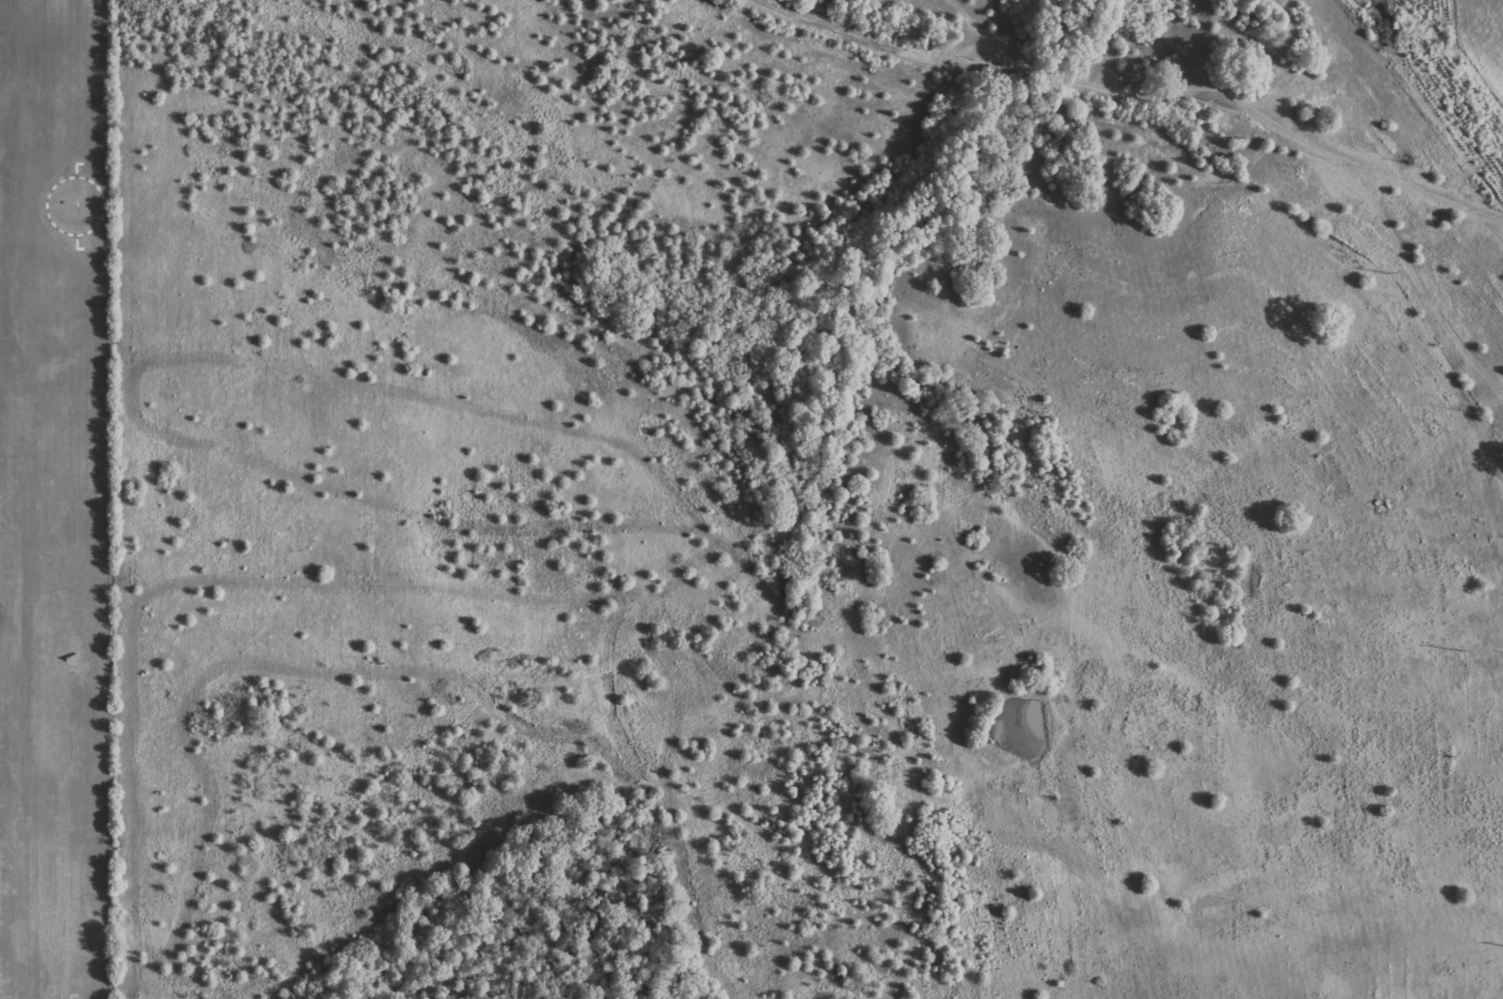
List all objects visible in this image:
road: (800, 28)
power tower: (1383, 271)
power tower: (1457, 649)

